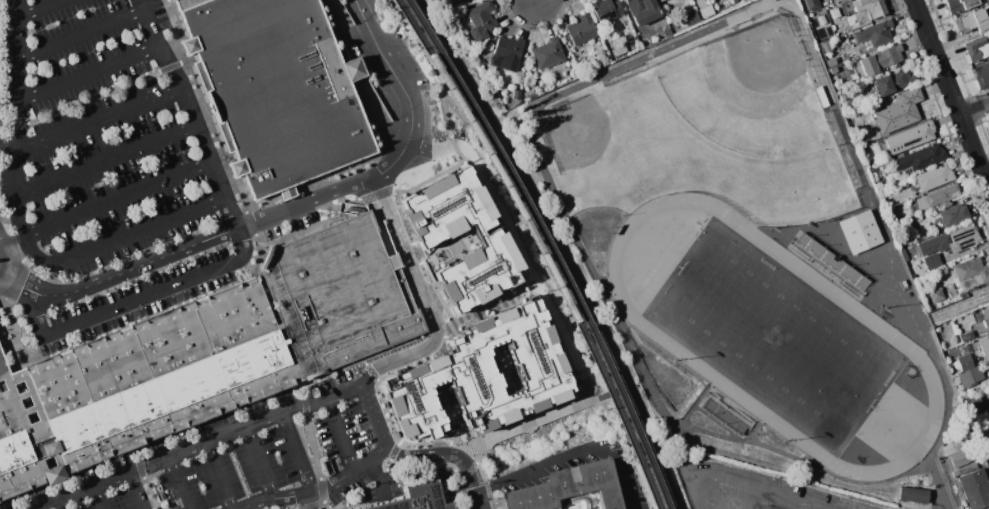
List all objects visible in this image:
building: (168, 0)
building: (661, 0)
building: (743, 0)
building: (734, 1)
building: (185, 3)
building: (812, 4)
building: (959, 5)
building: (988, 6)
building: (871, 7)
road: (21, 9)
road: (44, 9)
building: (704, 9)
building: (606, 10)
building: (643, 10)
building: (835, 13)
building: (481, 18)
building: (691, 19)
building: (822, 19)
building: (972, 22)
building: (581, 30)
building: (667, 32)
building: (874, 33)
road: (83, 34)
road: (21, 39)
building: (619, 49)
building: (977, 49)
building: (547, 53)
building: (507, 54)
building: (880, 59)
building: (831, 62)
building: (598, 64)
building: (833, 69)
road: (396, 70)
building: (982, 72)
road: (89, 73)
road: (20, 80)
building: (892, 82)
building: (278, 90)
road: (951, 92)
park: (750, 93)
road: (94, 99)
road: (441, 100)
road: (203, 107)
road: (975, 110)
building: (899, 112)
road: (192, 113)
road: (378, 116)
road: (101, 121)
parking lot: (94, 135)
building: (909, 137)
road: (9, 144)
road: (19, 149)
road: (430, 151)
building: (920, 157)
park: (683, 160)
road: (108, 161)
building: (933, 178)
road: (327, 195)
building: (935, 197)
road: (355, 201)
road: (107, 203)
railway: (528, 206)
railway: (520, 208)
road: (541, 210)
flagpole: (621, 215)
building: (954, 215)
road: (20, 216)
road: (251, 222)
road: (819, 225)
parking lot: (294, 226)
park: (535, 230)
building: (862, 233)
road: (120, 239)
building: (434, 240)
building: (903, 240)
building: (946, 243)
road: (244, 249)
track: (747, 250)
road: (260, 255)
road: (852, 259)
road: (9, 262)
building: (833, 263)
building: (970, 272)
road: (121, 275)
road: (603, 279)
building: (343, 293)
building: (936, 295)
road: (881, 296)
road: (428, 298)
parking lot: (136, 302)
road: (122, 308)
road: (953, 309)
building: (981, 315)
road: (12, 317)
road: (140, 326)
building: (966, 336)
park: (777, 337)
track: (899, 341)
building: (984, 345)
building: (964, 361)
building: (4, 364)
road: (366, 365)
building: (973, 374)
building: (162, 375)
building: (485, 379)
road: (9, 383)
road: (304, 387)
road: (322, 387)
road: (25, 399)
road: (694, 403)
building: (975, 409)
building: (726, 415)
road: (541, 416)
road: (206, 417)
road: (373, 417)
road: (715, 421)
road: (755, 430)
road: (341, 435)
road: (200, 446)
road: (437, 446)
building: (954, 447)
building: (15, 451)
road: (297, 453)
road: (574, 453)
parking lot: (229, 456)
road: (411, 456)
building: (959, 459)
road: (461, 461)
road: (261, 463)
railway: (651, 465)
railway: (643, 467)
road: (662, 470)
road: (220, 476)
road: (146, 477)
road: (376, 478)
track: (758, 478)
road: (180, 483)
road: (939, 484)
building: (568, 487)
building: (975, 488)
road: (137, 491)
park: (723, 491)
road: (322, 492)
road: (478, 494)
building: (913, 494)
track: (741, 495)
road: (98, 498)
building: (420, 498)
road: (312, 501)
park: (710, 503)
park: (732, 503)
road: (59, 505)
park: (764, 505)
road: (319, 506)
park: (802, 506)

